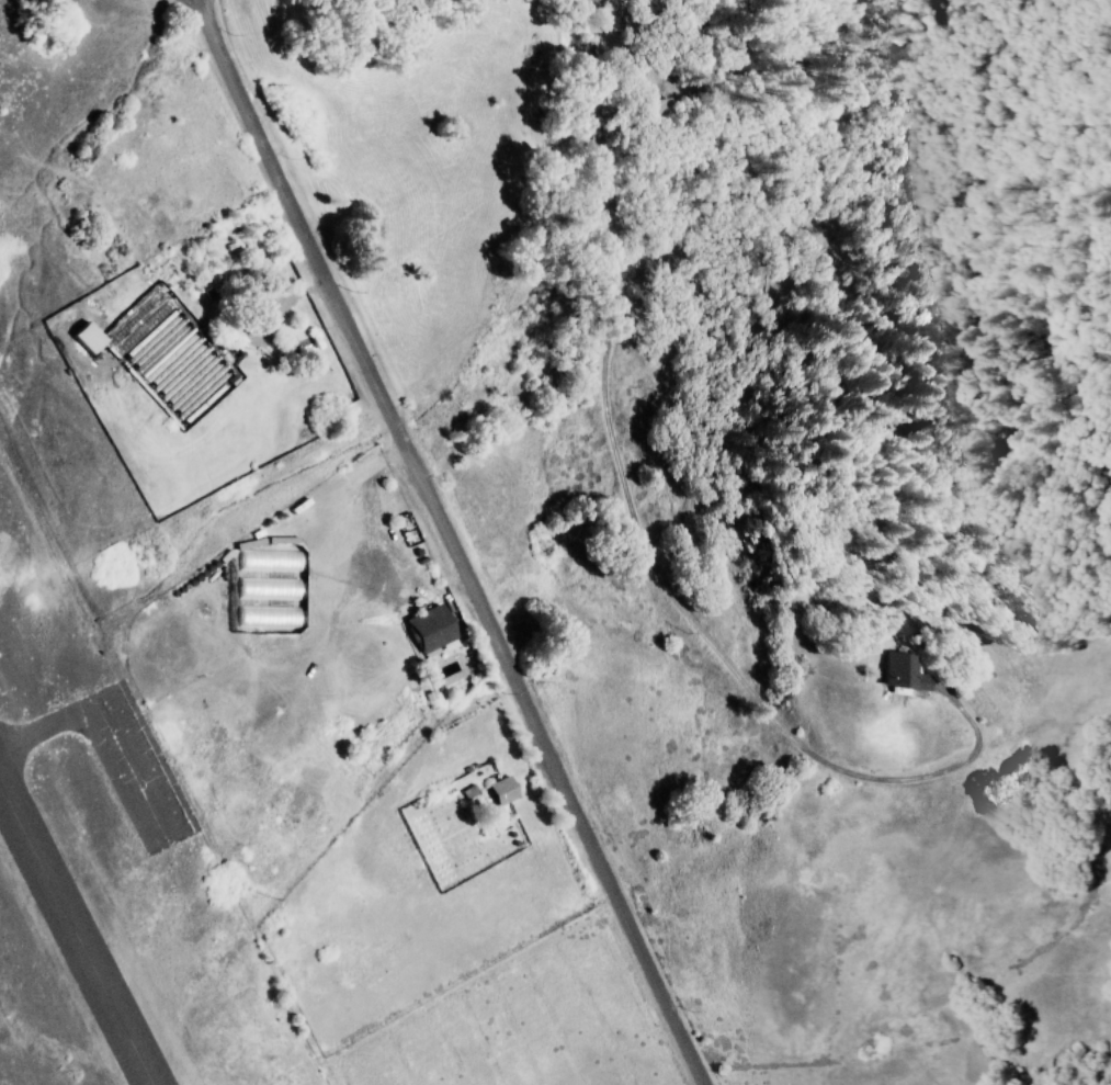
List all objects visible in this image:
road: (189, 24)
building: (660, 106)
building: (84, 337)
road: (638, 513)
road: (449, 543)
building: (427, 630)
building: (903, 673)
building: (501, 791)
building: (467, 792)
airport runway: (78, 930)

